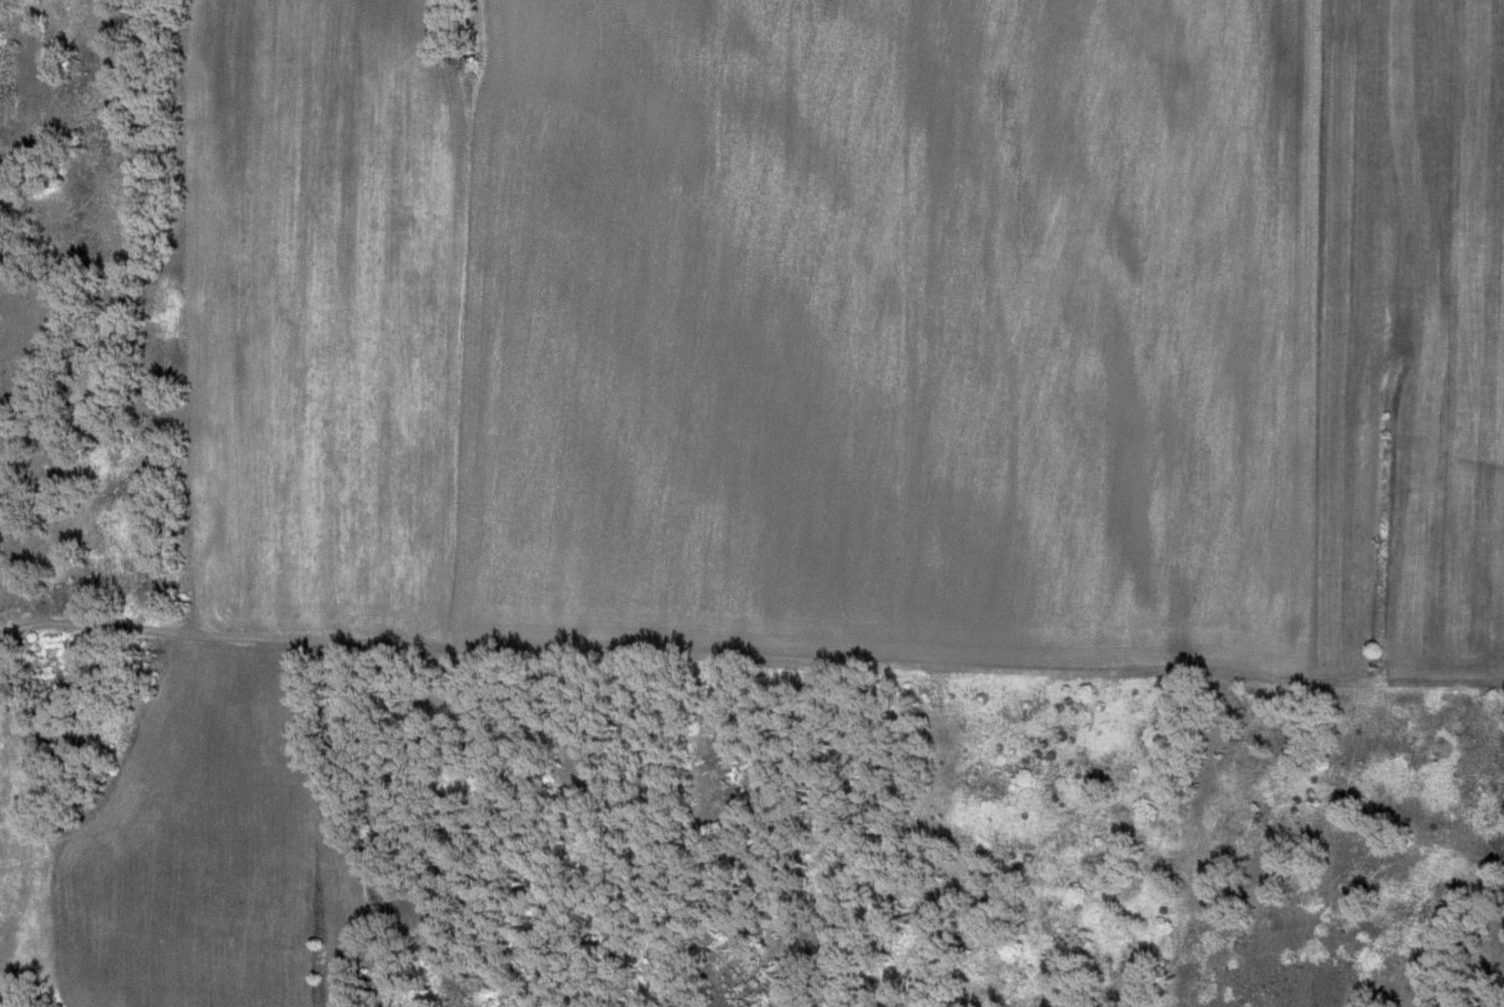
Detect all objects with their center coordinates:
road: (751, 676)

